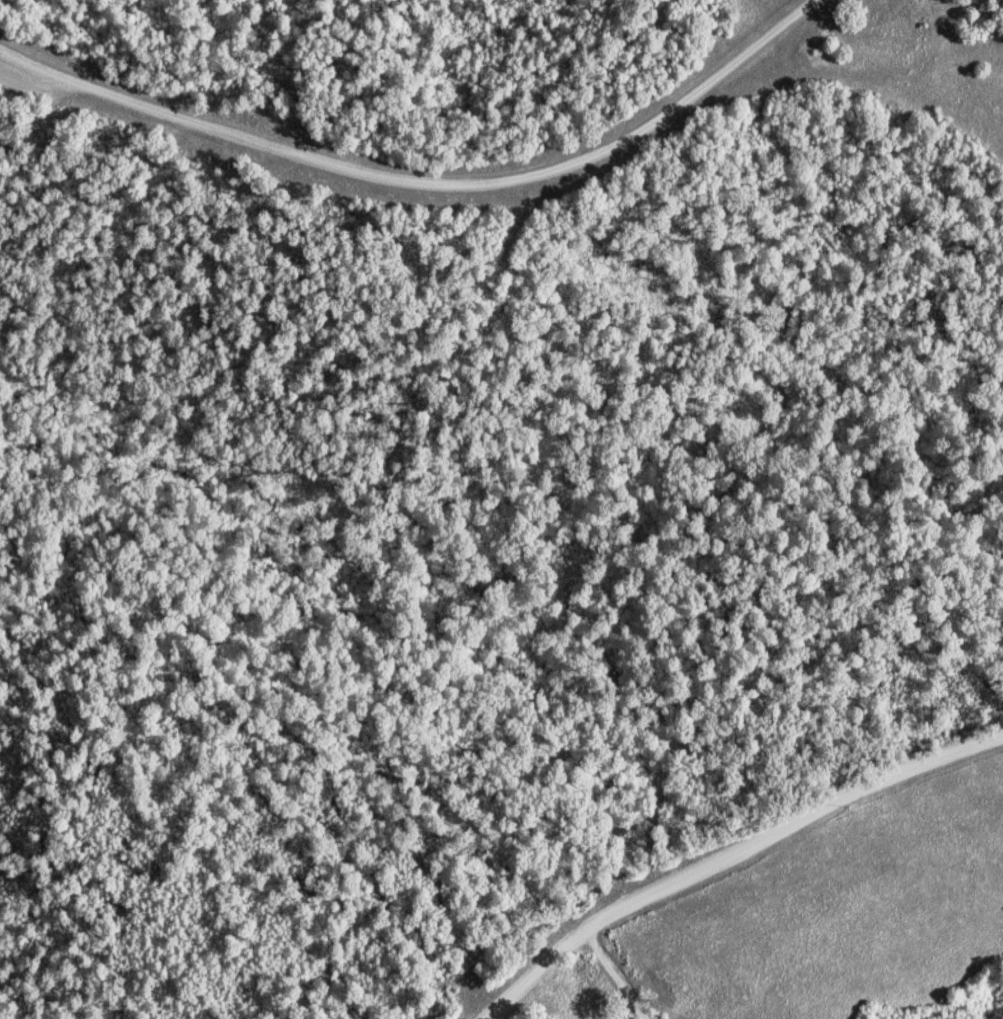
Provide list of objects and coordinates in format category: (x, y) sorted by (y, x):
parking lot: (30, 85)
road: (427, 183)
road: (739, 859)
road: (620, 974)

